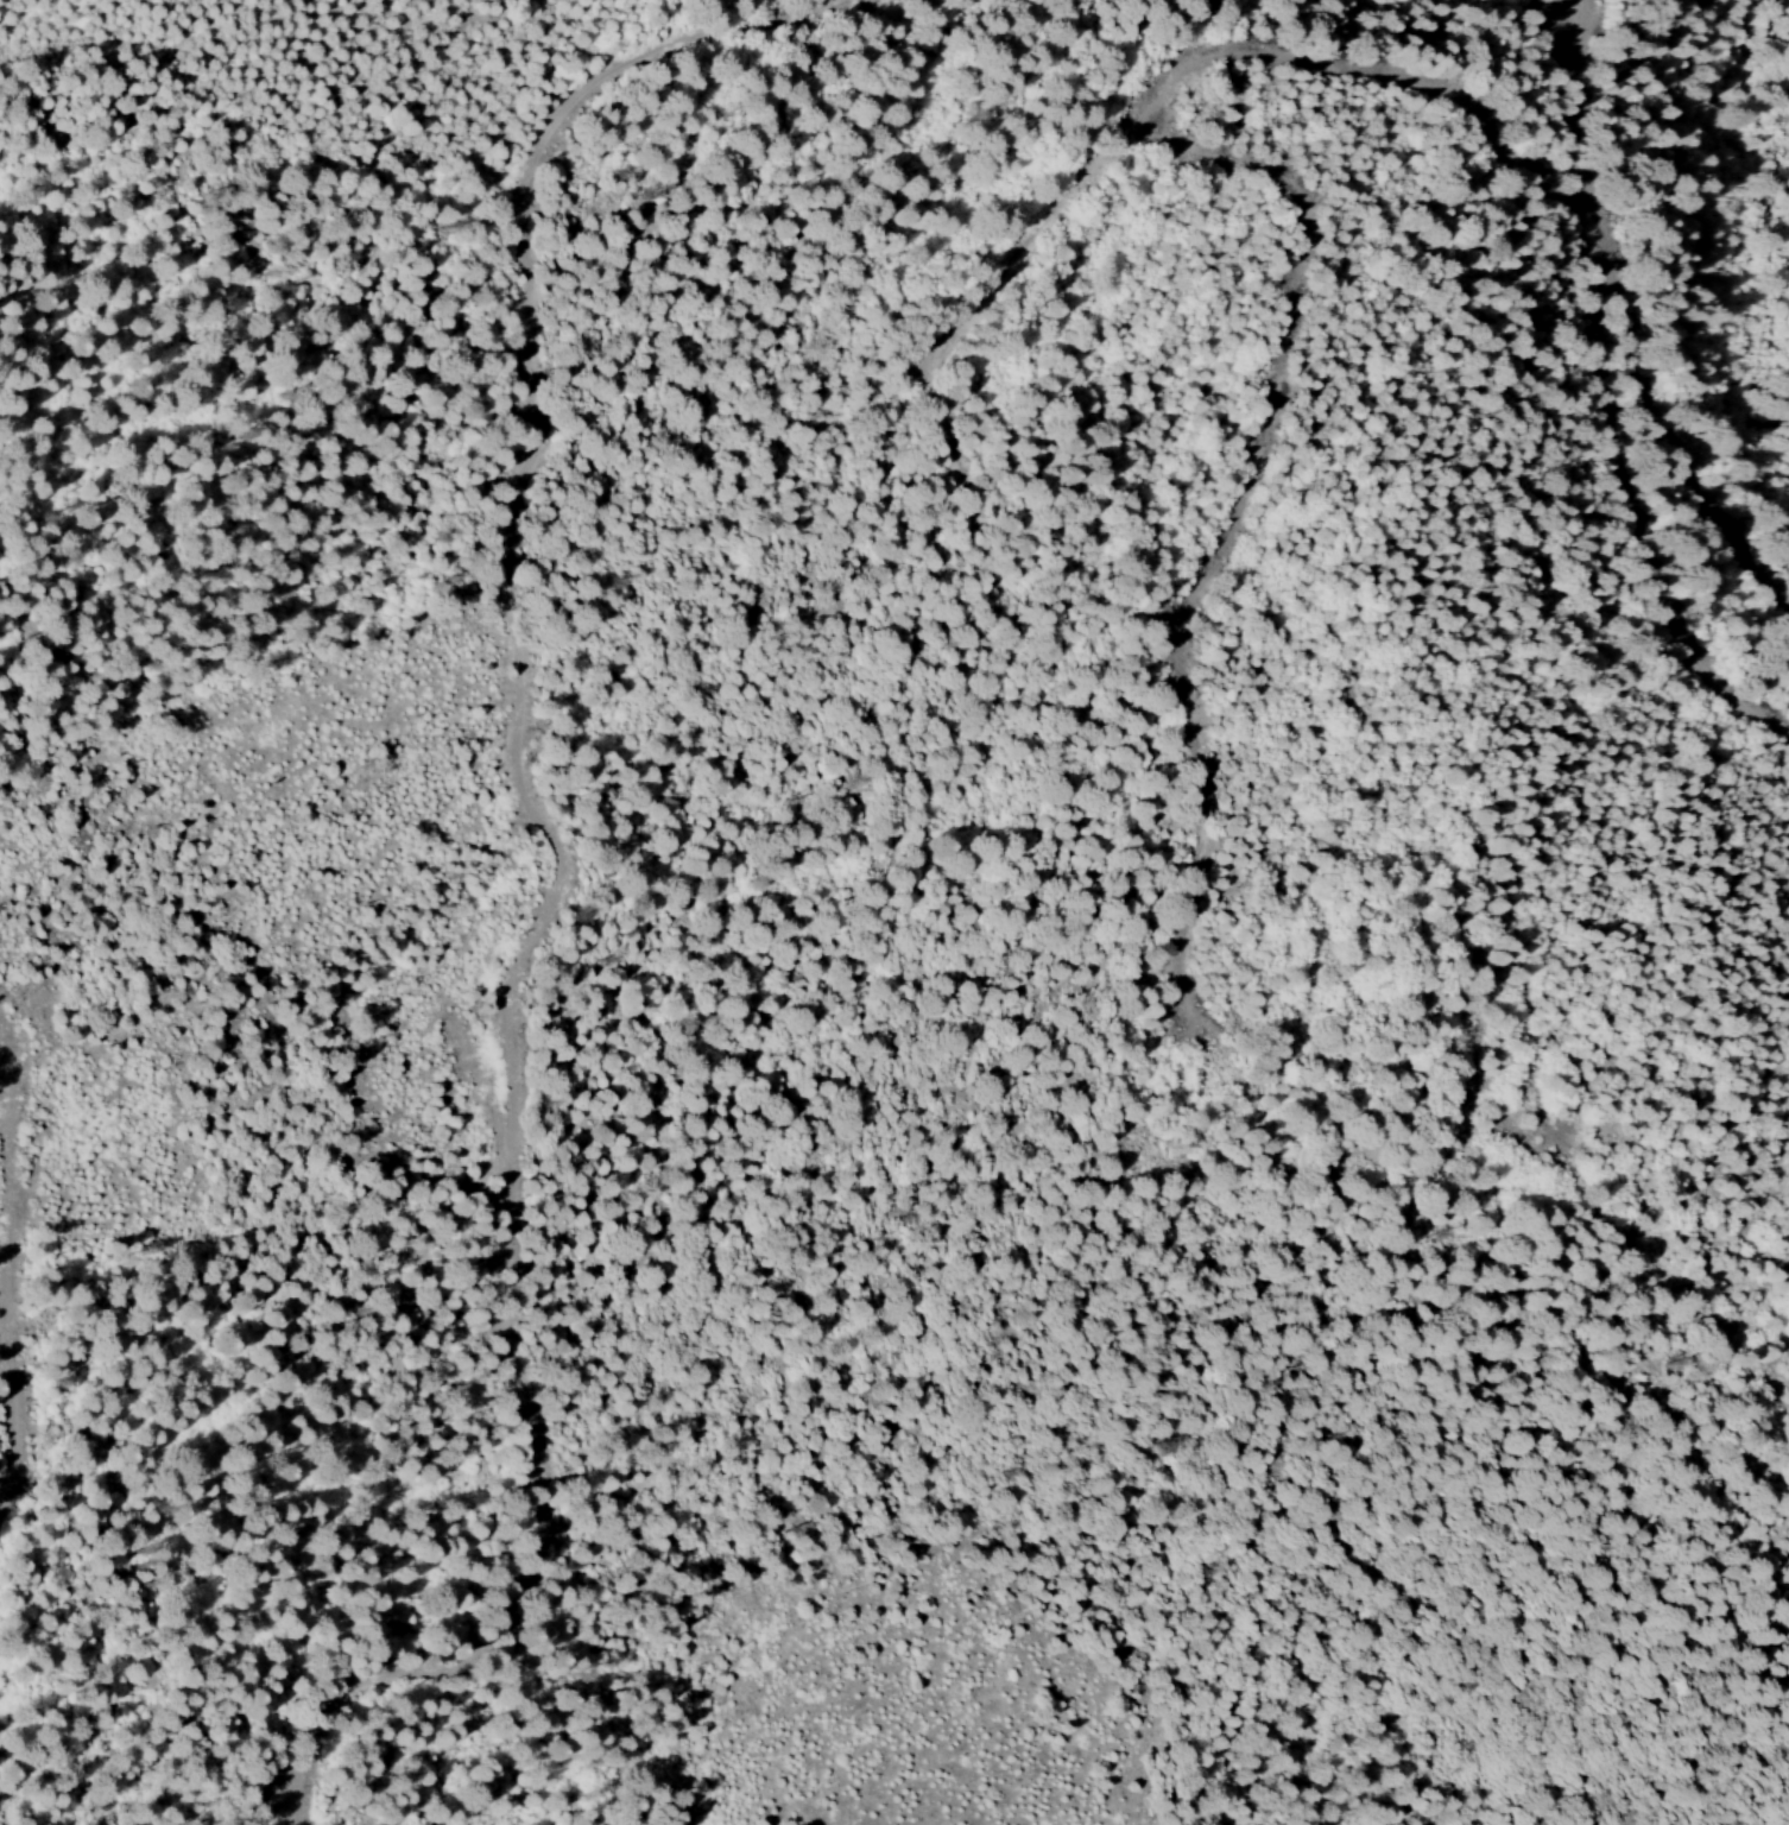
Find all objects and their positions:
road: (1588, 113)
road: (1673, 417)
road: (1645, 504)
road: (519, 857)

